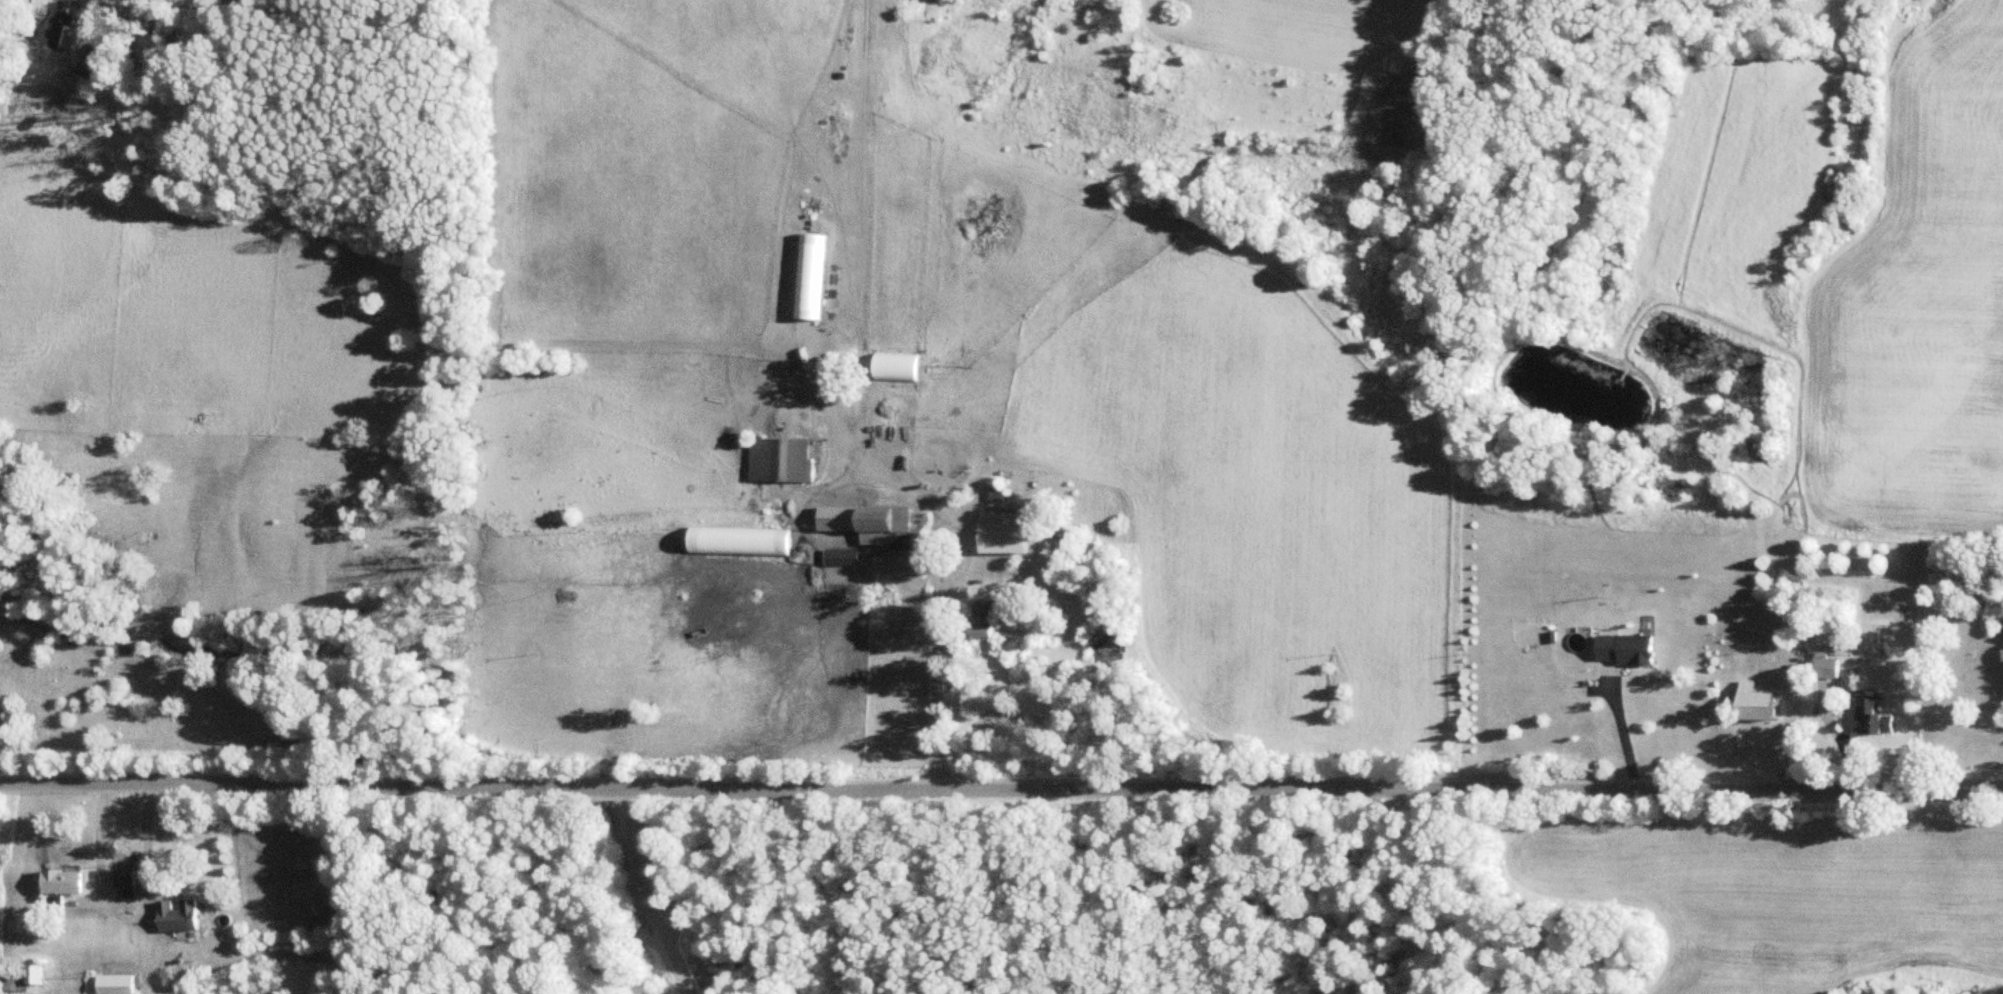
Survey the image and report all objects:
building: (60, 24)
building: (92, 63)
building: (811, 276)
crop: (1915, 310)
building: (902, 368)
building: (781, 460)
building: (865, 524)
building: (1008, 533)
building: (765, 541)
building: (844, 557)
building: (987, 624)
building: (1626, 648)
building: (1826, 666)
building: (1760, 703)
building: (1872, 720)
road: (1001, 785)
road: (144, 853)
building: (127, 877)
building: (64, 881)
building: (181, 915)
building: (26, 976)
building: (119, 983)

